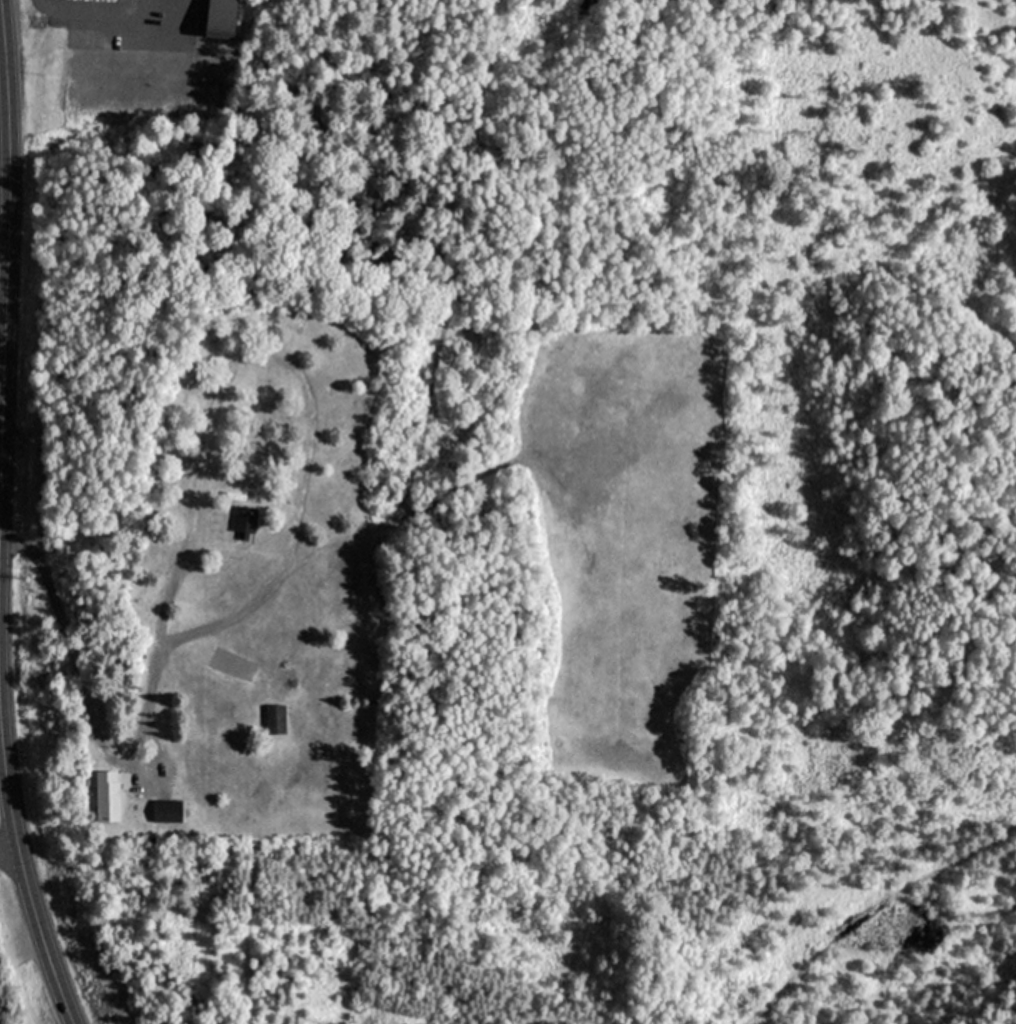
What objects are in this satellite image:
road: (100, 11)
road: (168, 17)
building: (222, 17)
road: (4, 219)
road: (291, 365)
building: (245, 520)
road: (86, 708)
building: (275, 717)
building: (108, 795)
building: (167, 809)
road: (8, 853)
road: (25, 886)

